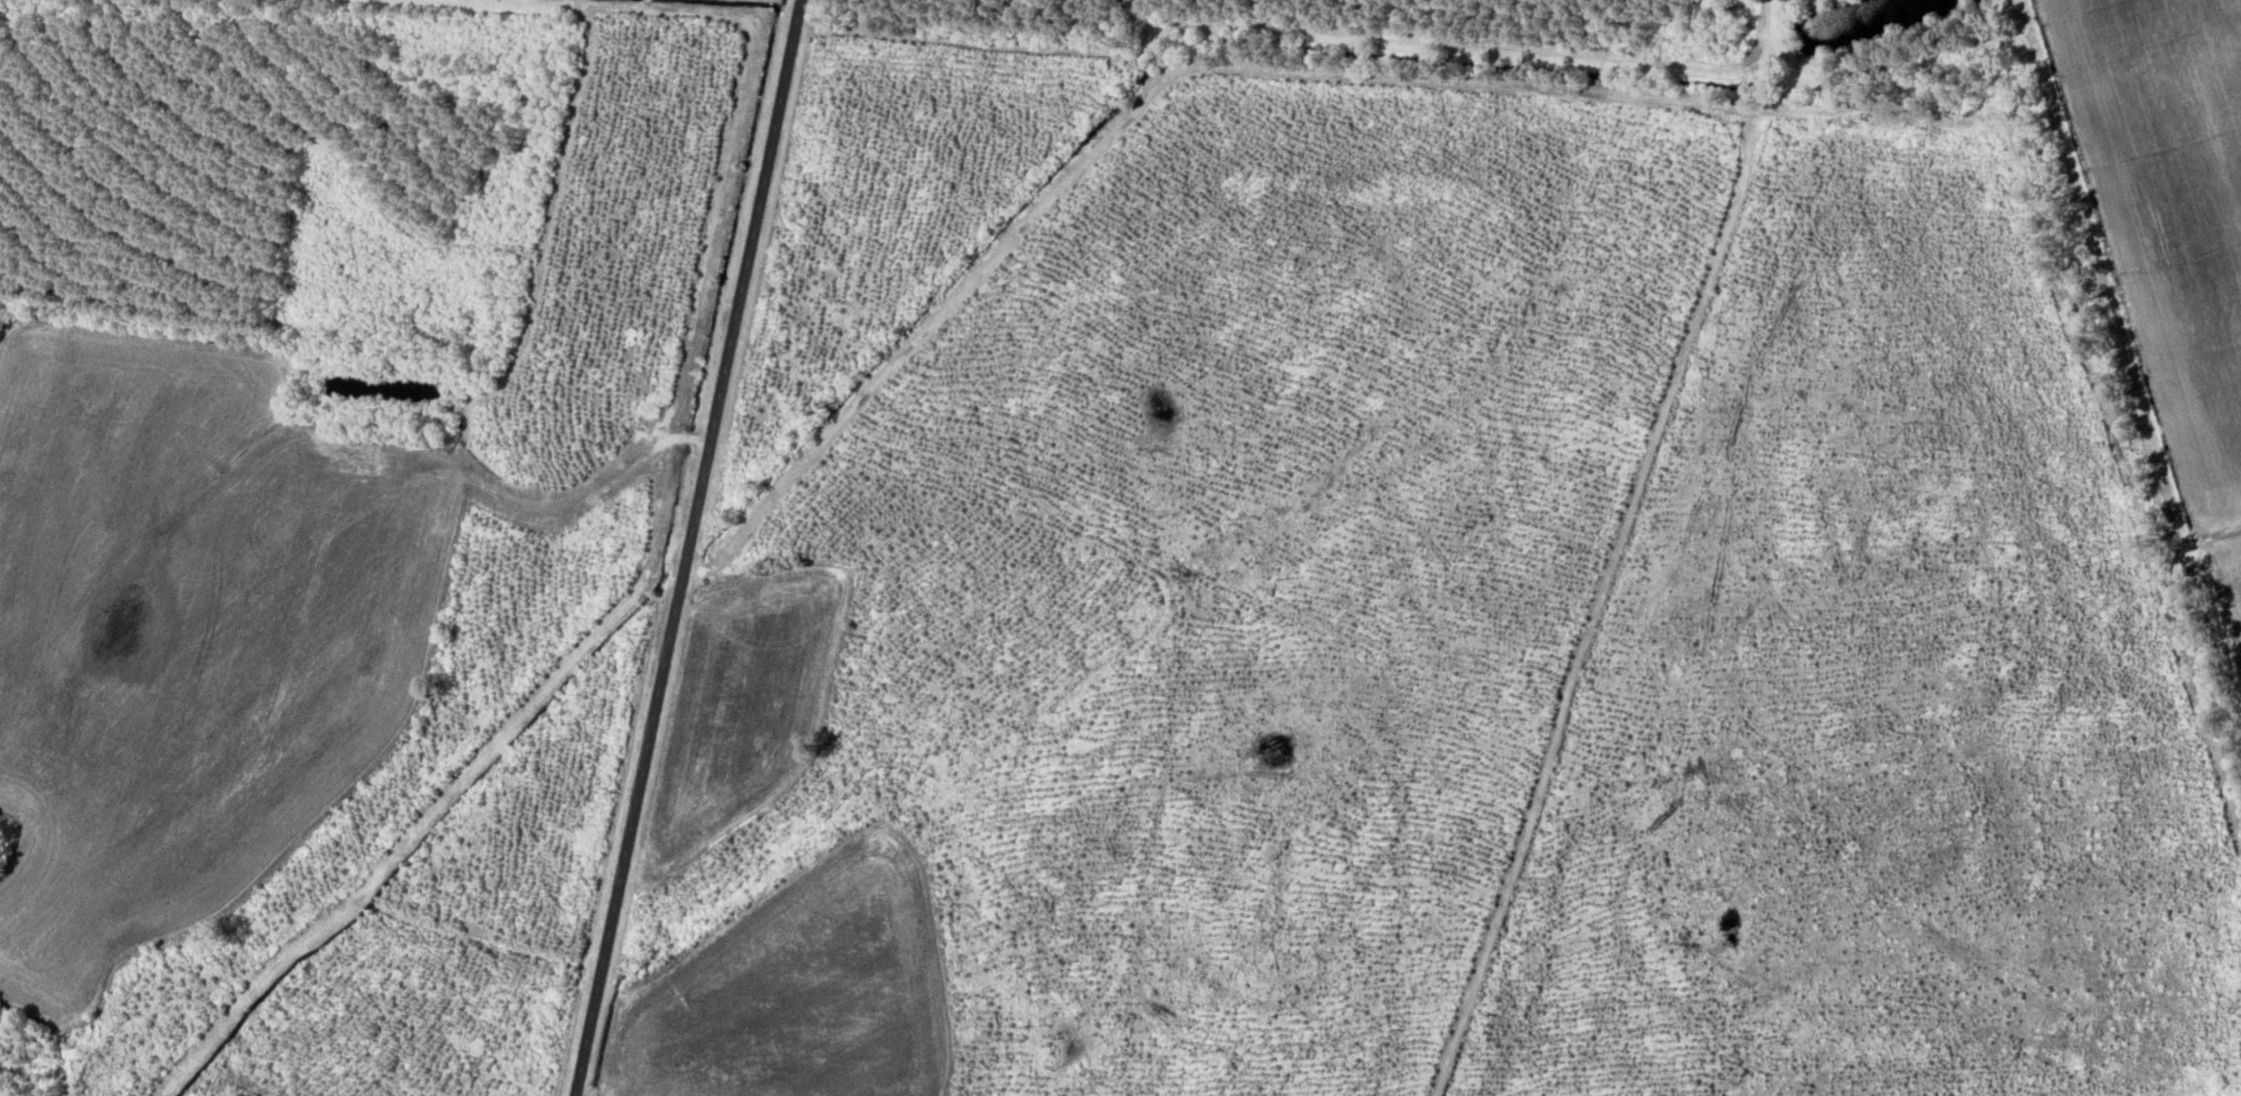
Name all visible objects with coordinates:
road: (1791, 18)
road: (1222, 66)
road: (2118, 337)
road: (688, 548)
road: (1596, 602)
road: (2132, 1095)

